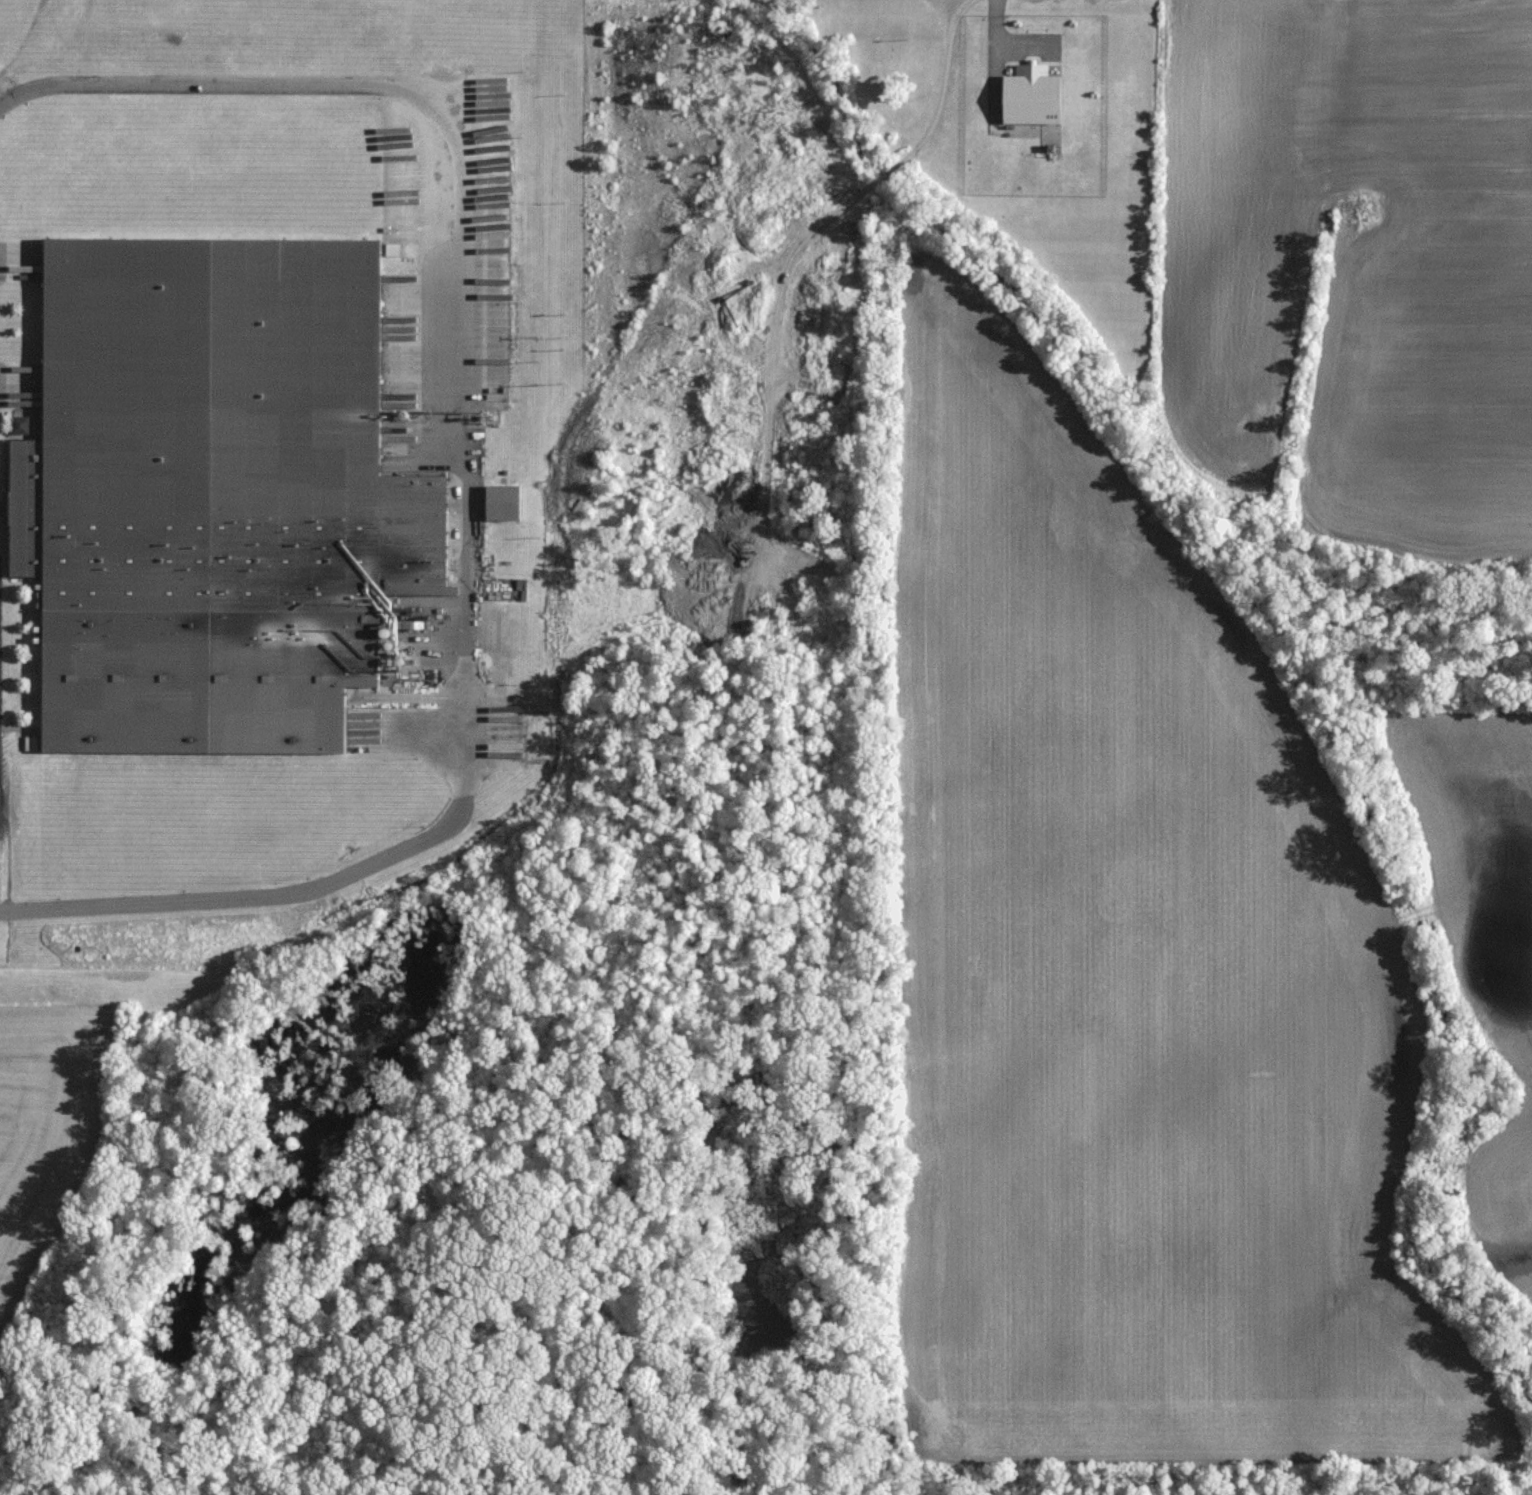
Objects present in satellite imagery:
road: (994, 43)
building: (1028, 93)
road: (469, 476)
building: (207, 493)
building: (499, 502)

